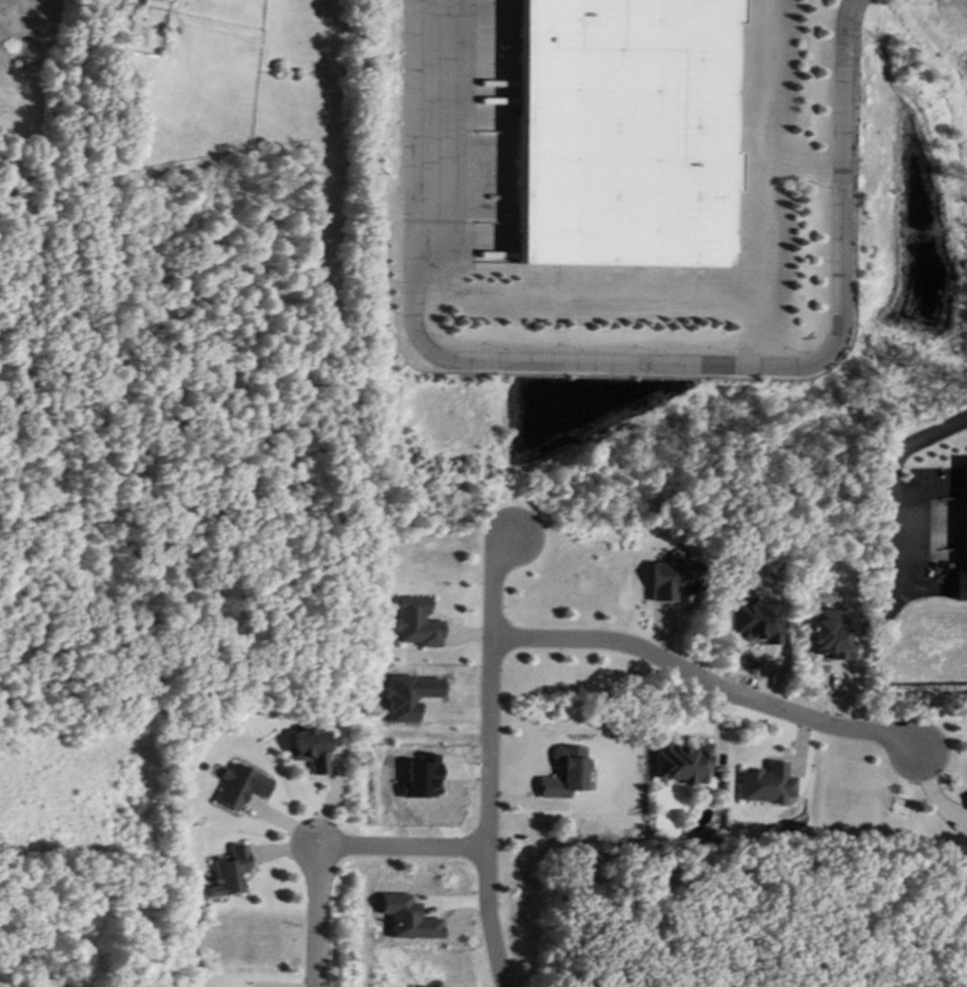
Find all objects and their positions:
building: (169, 0)
building: (624, 133)
road: (628, 369)
road: (889, 507)
building: (670, 579)
building: (964, 586)
building: (417, 623)
building: (831, 635)
road: (706, 677)
building: (409, 697)
building: (311, 750)
road: (487, 759)
building: (683, 763)
building: (565, 773)
building: (424, 777)
building: (768, 784)
building: (241, 786)
road: (402, 847)
building: (231, 872)
road: (313, 914)
building: (408, 918)

